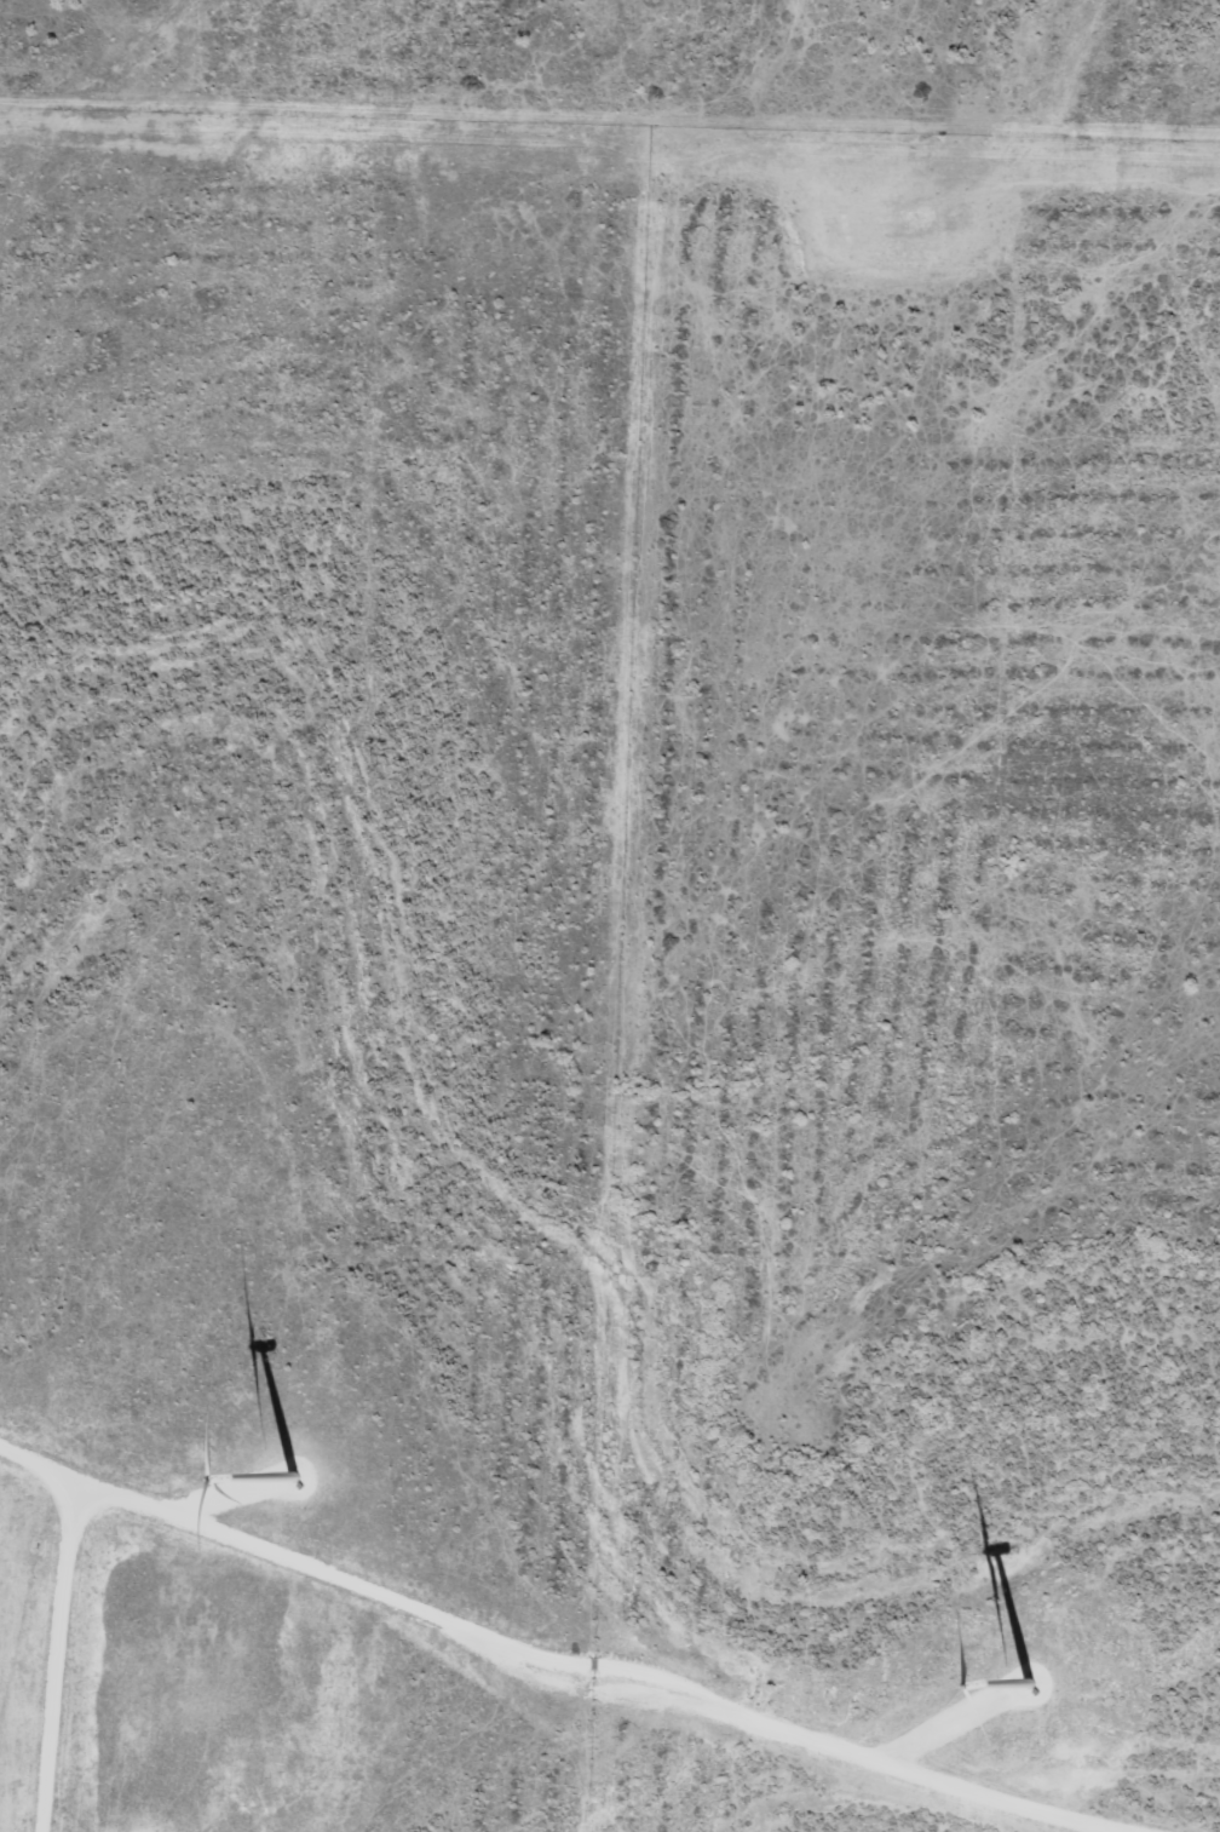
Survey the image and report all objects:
wind turbine: (292, 1478)
road: (57, 1654)
road: (569, 1665)
wind turbine: (1029, 1687)

